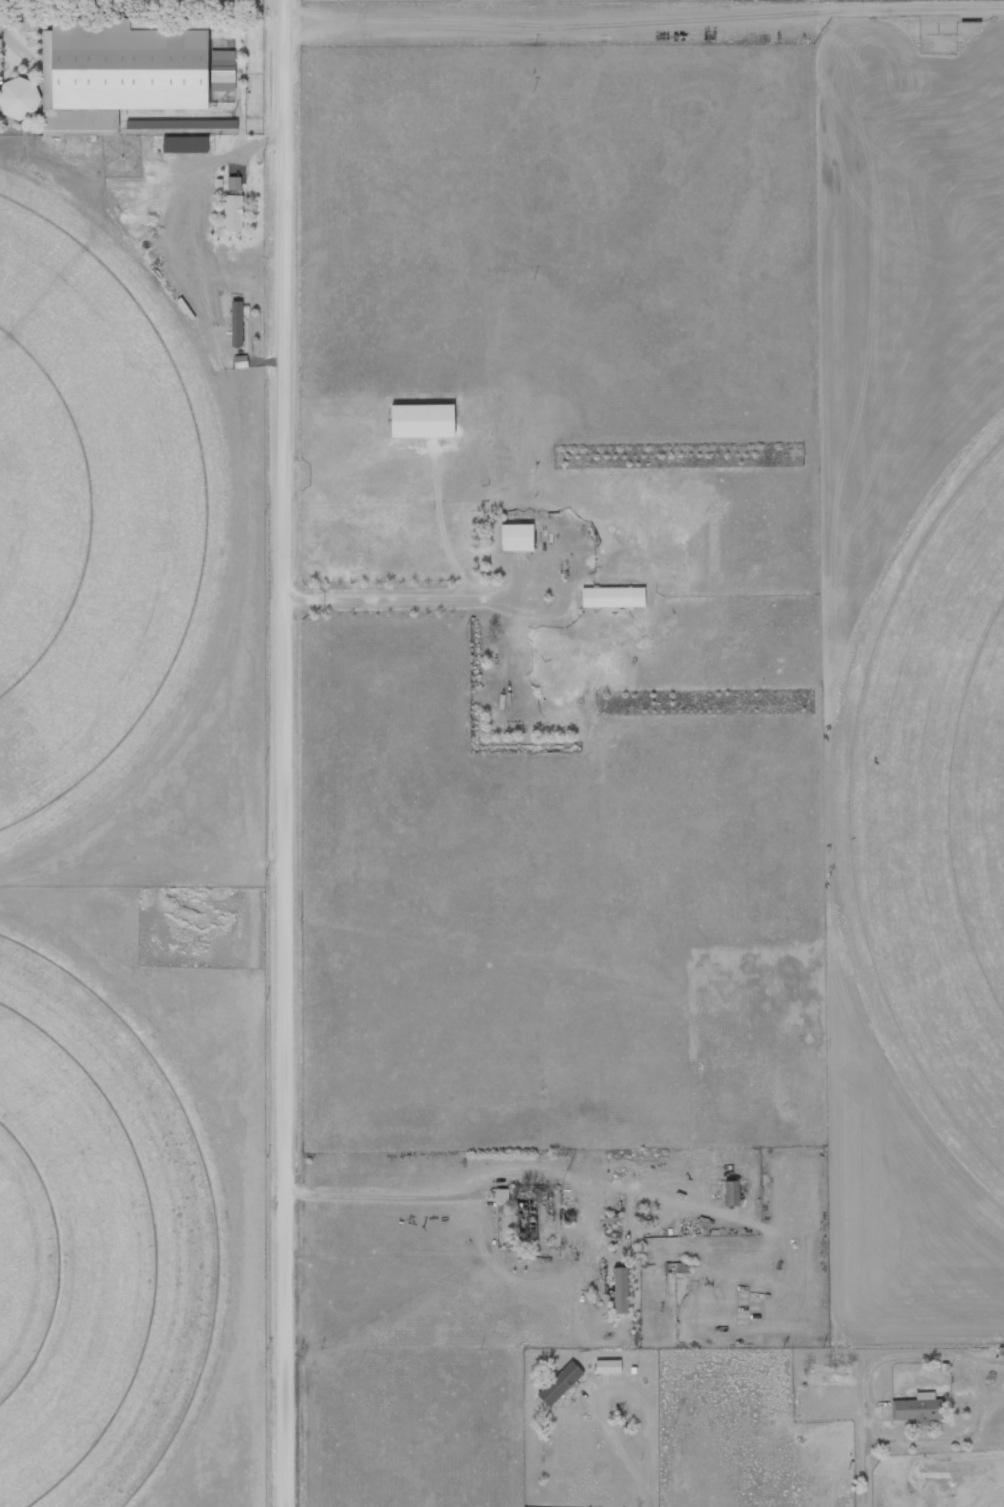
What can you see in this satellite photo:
building: (223, 71)
building: (118, 74)
building: (19, 99)
building: (185, 145)
building: (234, 184)
building: (233, 213)
building: (423, 421)
crop: (91, 511)
building: (517, 538)
building: (613, 598)
road: (281, 753)
crop: (940, 808)
building: (733, 1192)
building: (526, 1216)
crop: (99, 1245)
building: (622, 1289)
building: (609, 1366)
building: (563, 1382)
building: (918, 1408)

